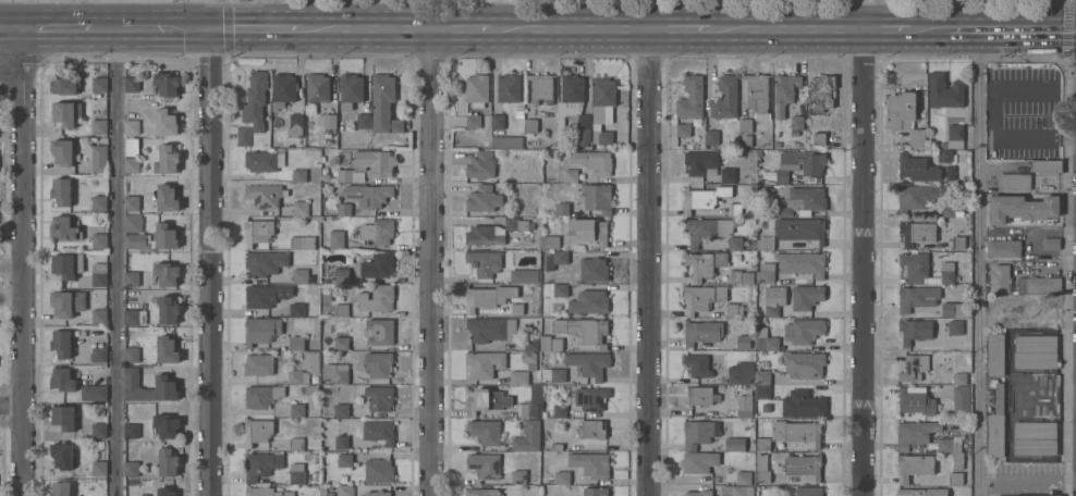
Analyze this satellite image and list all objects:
road: (69, 14)
road: (11, 28)
road: (57, 28)
road: (148, 28)
road: (253, 28)
road: (366, 28)
road: (461, 28)
road: (568, 28)
road: (677, 28)
road: (785, 28)
road: (885, 28)
road: (929, 28)
road: (963, 28)
road: (1026, 28)
traffic signals: (206, 29)
road: (11, 71)
building: (62, 82)
building: (97, 83)
building: (131, 83)
building: (166, 83)
building: (283, 86)
building: (318, 88)
building: (509, 88)
building: (541, 88)
building: (476, 89)
building: (351, 90)
building: (944, 91)
building: (784, 94)
building: (821, 94)
building: (758, 96)
building: (255, 98)
building: (690, 98)
building: (725, 98)
building: (383, 104)
building: (602, 109)
building: (573, 110)
building: (64, 111)
building: (902, 111)
building: (518, 114)
building: (166, 121)
building: (330, 121)
building: (364, 121)
building: (473, 121)
building: (498, 122)
building: (797, 123)
building: (98, 125)
building: (130, 125)
building: (294, 126)
building: (745, 126)
building: (683, 129)
building: (530, 133)
building: (243, 134)
building: (794, 134)
building: (711, 137)
building: (917, 137)
building: (954, 137)
building: (819, 138)
building: (506, 142)
building: (777, 145)
building: (131, 146)
building: (62, 150)
building: (758, 152)
building: (945, 156)
building: (98, 157)
building: (164, 157)
building: (262, 159)
building: (374, 162)
building: (594, 162)
building: (130, 163)
building: (700, 163)
building: (480, 166)
building: (1047, 166)
building: (814, 168)
building: (917, 168)
building: (950, 173)
building: (298, 175)
building: (349, 175)
building: (571, 175)
building: (727, 175)
building: (759, 177)
building: (1014, 182)
building: (762, 188)
building: (61, 189)
building: (265, 194)
building: (369, 194)
building: (166, 196)
building: (919, 196)
building: (965, 197)
building: (599, 198)
building: (704, 198)
building: (482, 199)
building: (130, 201)
building: (799, 201)
building: (99, 202)
building: (299, 208)
building: (1022, 208)
building: (343, 209)
building: (562, 209)
building: (735, 210)
building: (949, 210)
building: (131, 221)
building: (62, 226)
building: (257, 230)
building: (707, 230)
building: (800, 230)
building: (377, 231)
building: (588, 231)
building: (496, 232)
building: (917, 233)
building: (164, 234)
building: (98, 239)
building: (136, 239)
building: (335, 239)
building: (303, 243)
building: (549, 243)
building: (735, 243)
building: (958, 243)
building: (1051, 243)
building: (765, 244)
building: (1003, 248)
building: (555, 259)
road: (21, 261)
building: (264, 261)
road: (115, 262)
road: (206, 262)
road: (431, 262)
building: (485, 262)
road: (649, 262)
road: (861, 262)
road: (976, 262)
road: (10, 263)
building: (66, 263)
building: (802, 263)
building: (702, 264)
building: (378, 265)
building: (594, 270)
building: (925, 270)
building: (166, 272)
building: (98, 273)
building: (766, 273)
building: (299, 275)
building: (341, 275)
building: (524, 276)
building: (133, 277)
building: (741, 277)
building: (1000, 278)
building: (1039, 285)
building: (560, 289)
building: (265, 294)
building: (327, 296)
building: (488, 297)
building: (807, 297)
building: (918, 297)
road: (10, 298)
building: (702, 298)
building: (378, 299)
building: (66, 301)
building: (589, 302)
building: (1047, 303)
building: (557, 307)
building: (167, 308)
building: (296, 309)
building: (340, 309)
building: (516, 309)
building: (952, 309)
building: (733, 310)
building: (772, 310)
building: (133, 314)
building: (98, 315)
building: (1046, 317)
building: (998, 323)
building: (1011, 323)
building: (1026, 323)
building: (955, 327)
building: (260, 328)
building: (491, 328)
building: (584, 330)
building: (379, 331)
building: (804, 331)
building: (915, 331)
building: (702, 332)
building: (60, 342)
building: (766, 342)
building: (297, 343)
building: (744, 343)
building: (341, 344)
building: (531, 344)
building: (551, 344)
building: (166, 348)
building: (1035, 351)
building: (97, 354)
building: (130, 354)
building: (994, 354)
building: (529, 359)
building: (310, 361)
building: (257, 363)
building: (589, 363)
building: (378, 364)
building: (484, 364)
building: (698, 365)
building: (804, 365)
building: (914, 367)
building: (335, 373)
building: (741, 373)
building: (553, 375)
building: (297, 376)
building: (62, 377)
building: (518, 377)
building: (959, 379)
building: (167, 383)
building: (762, 385)
building: (91, 389)
building: (311, 389)
building: (261, 395)
building: (701, 396)
building: (379, 398)
building: (591, 398)
building: (486, 400)
building: (961, 400)
building: (915, 402)
building: (533, 404)
building: (803, 405)
road: (10, 408)
building: (296, 410)
building: (341, 410)
building: (745, 410)
building: (560, 411)
building: (62, 416)
building: (166, 424)
building: (98, 429)
building: (130, 429)
building: (257, 430)
building: (592, 430)
building: (379, 431)
building: (485, 432)
building: (796, 432)
building: (699, 433)
building: (915, 433)
building: (528, 437)
building: (1035, 437)
building: (341, 442)
building: (296, 444)
building: (762, 444)
building: (101, 445)
building: (735, 445)
building: (371, 447)
building: (555, 447)
building: (952, 450)
building: (61, 454)
building: (167, 460)
building: (344, 460)
building: (761, 461)
building: (699, 462)
building: (260, 463)
building: (591, 464)
building: (485, 466)
building: (803, 466)
building: (98, 467)
building: (914, 467)
building: (130, 468)
building: (378, 471)
building: (296, 474)
building: (518, 476)
building: (763, 476)
building: (343, 478)
building: (562, 478)
building: (744, 478)
building: (956, 479)
building: (59, 488)
building: (164, 491)
building: (266, 491)
building: (344, 491)
building: (737, 491)
building: (596, 492)
building: (809, 492)
building: (921, 492)
building: (378, 493)
building: (482, 493)
building: (698, 493)
building: (330, 494)
building: (1027, 495)

